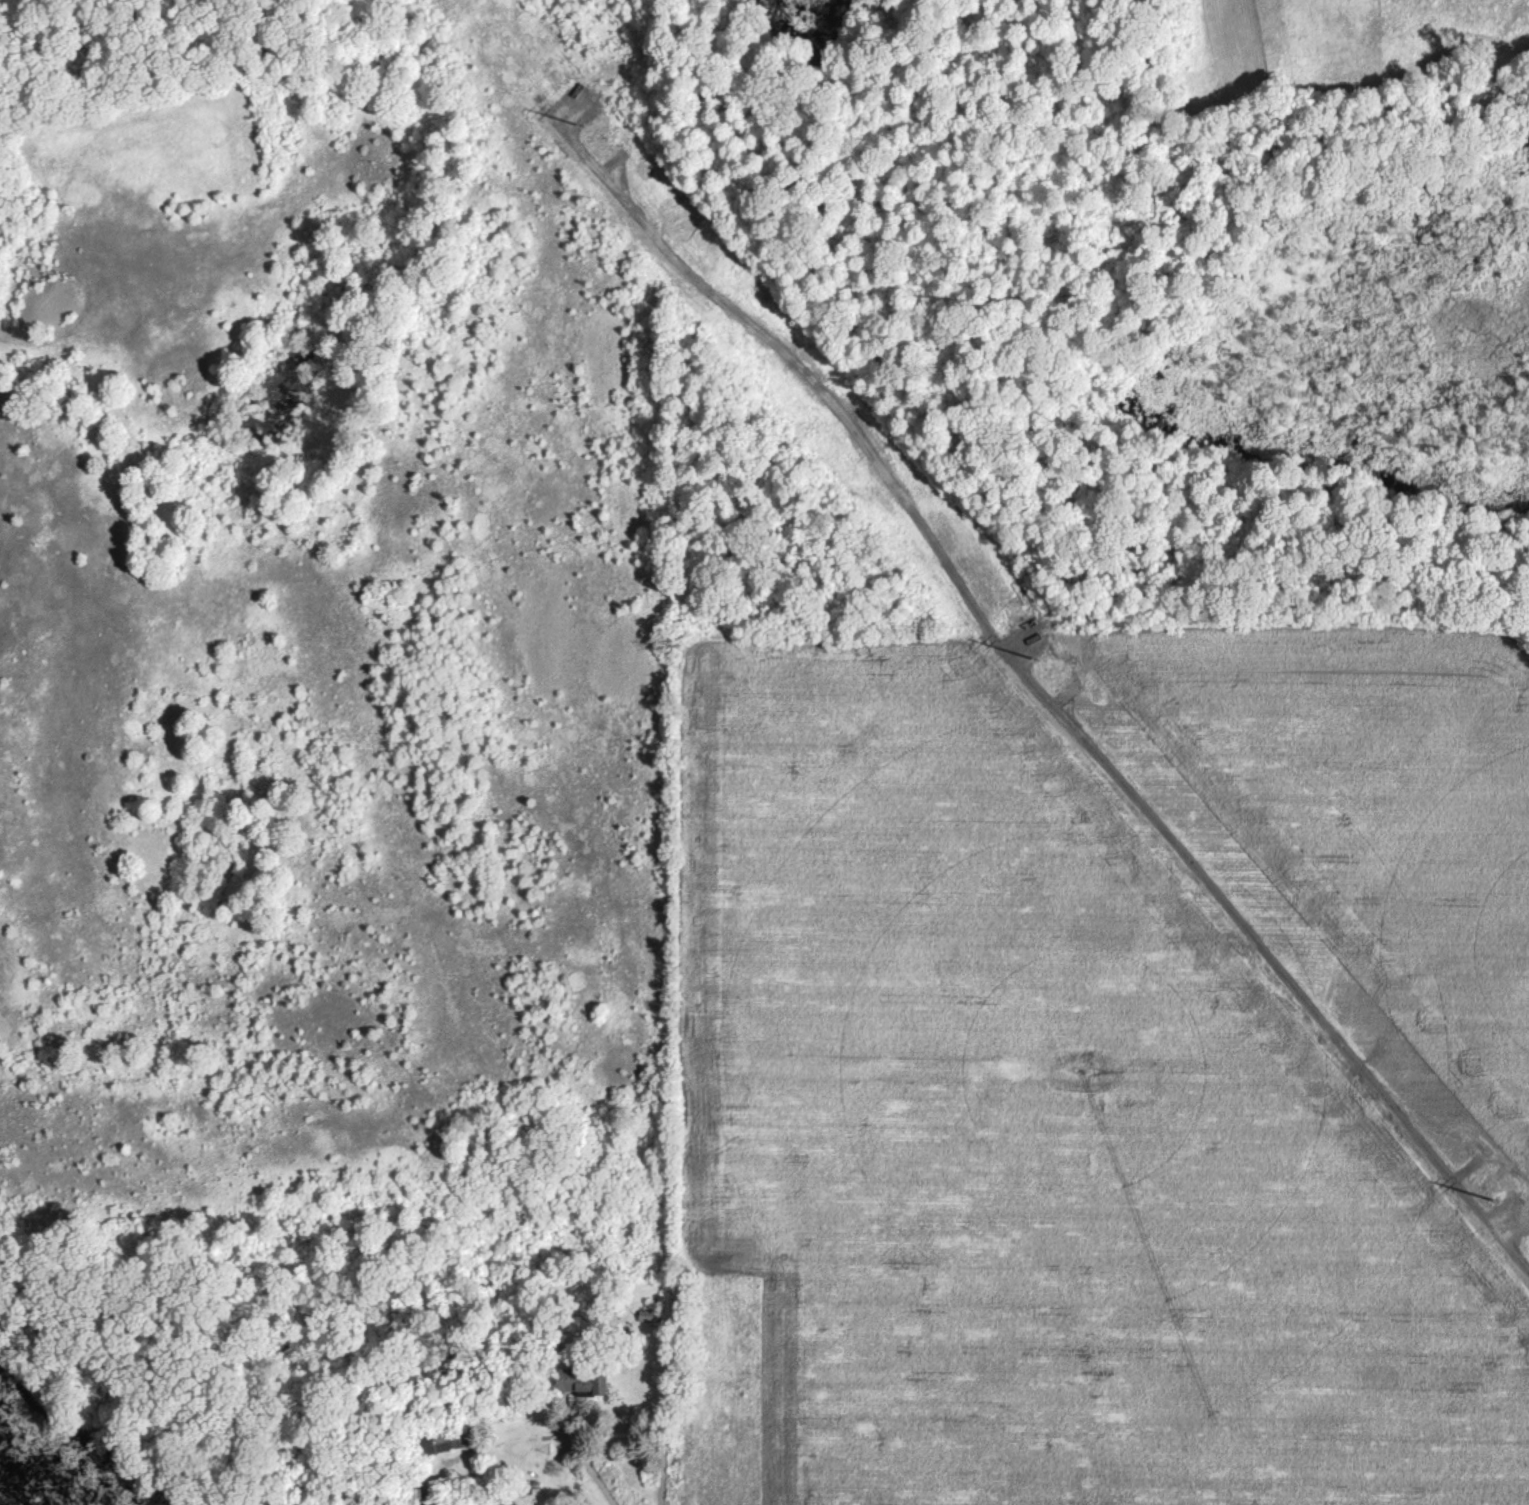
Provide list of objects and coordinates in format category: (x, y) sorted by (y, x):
power tower: (599, 130)
power tower: (1055, 666)
power tower: (1491, 1168)
building: (646, 1316)
building: (578, 1382)
building: (440, 1436)
road: (591, 1471)
building: (424, 1496)

